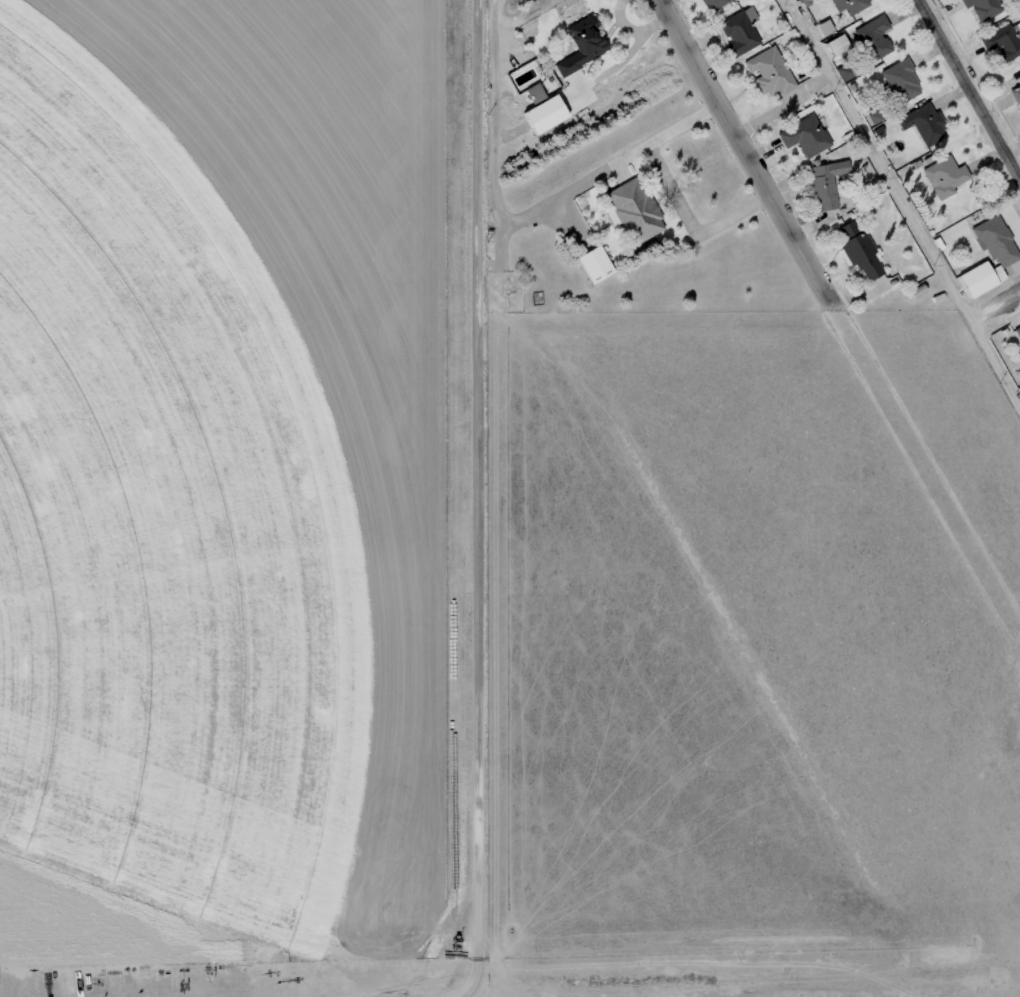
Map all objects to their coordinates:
building: (714, 4)
building: (852, 5)
building: (983, 8)
building: (827, 27)
building: (741, 30)
building: (875, 37)
building: (1003, 41)
building: (585, 45)
building: (770, 71)
building: (525, 77)
building: (903, 80)
road: (972, 85)
building: (1016, 94)
building: (547, 109)
building: (875, 117)
building: (926, 123)
building: (806, 135)
road: (751, 151)
building: (947, 176)
building: (828, 182)
road: (906, 201)
building: (639, 212)
building: (997, 240)
building: (861, 250)
building: (599, 264)
building: (984, 277)
road: (997, 307)
building: (1018, 331)

